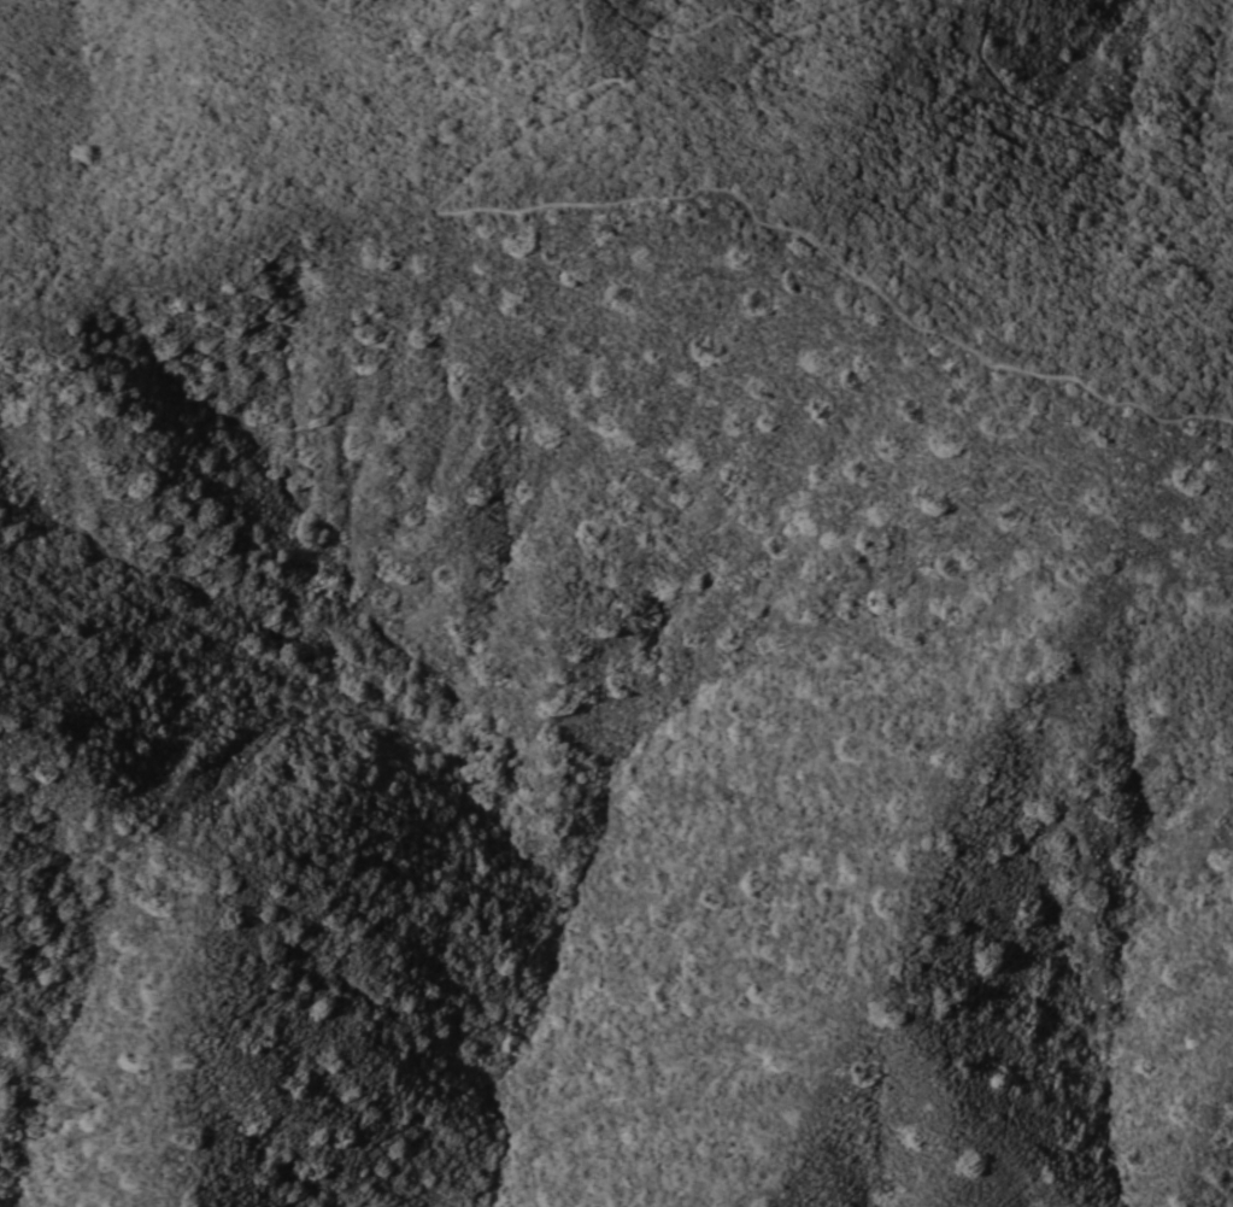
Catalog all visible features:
road: (733, 16)
road: (1069, 124)
road: (662, 199)

